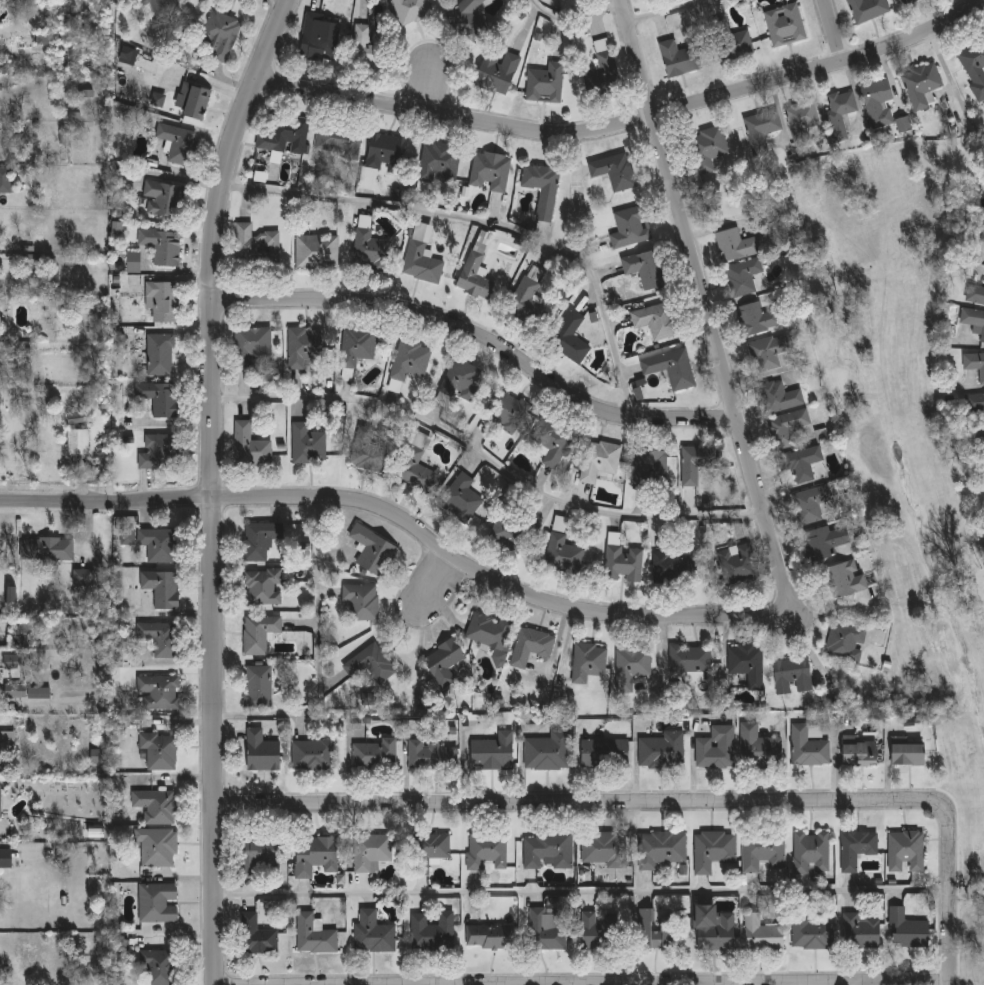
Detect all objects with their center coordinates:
building: (905, 1)
building: (159, 6)
building: (866, 9)
building: (411, 10)
road: (666, 11)
road: (576, 16)
building: (467, 19)
building: (785, 25)
building: (220, 34)
road: (836, 35)
building: (317, 38)
building: (44, 39)
building: (368, 44)
building: (733, 44)
building: (129, 55)
building: (679, 57)
building: (604, 60)
building: (975, 66)
building: (496, 71)
building: (545, 82)
building: (922, 83)
building: (158, 99)
building: (195, 100)
building: (878, 102)
building: (839, 111)
building: (801, 119)
building: (904, 124)
road: (626, 125)
building: (761, 129)
building: (289, 134)
building: (338, 139)
building: (178, 142)
building: (710, 146)
building: (382, 155)
building: (439, 161)
building: (614, 170)
building: (490, 171)
building: (6, 181)
building: (542, 188)
building: (164, 198)
road: (484, 221)
building: (117, 227)
building: (630, 227)
building: (982, 237)
road: (209, 240)
building: (162, 245)
building: (256, 245)
building: (735, 245)
building: (370, 247)
building: (316, 251)
building: (422, 255)
building: (134, 262)
building: (31, 263)
building: (641, 268)
building: (474, 276)
building: (742, 276)
building: (975, 294)
building: (161, 300)
building: (525, 300)
road: (702, 308)
building: (756, 318)
building: (973, 319)
building: (658, 320)
building: (570, 338)
road: (481, 340)
building: (250, 344)
building: (356, 345)
building: (306, 347)
building: (21, 352)
building: (768, 352)
building: (159, 354)
building: (410, 359)
building: (974, 363)
building: (670, 368)
building: (461, 379)
park: (899, 379)
building: (159, 397)
building: (779, 397)
building: (974, 402)
park: (904, 409)
building: (505, 411)
building: (79, 417)
building: (786, 428)
building: (552, 440)
building: (78, 441)
building: (979, 442)
building: (307, 444)
building: (250, 445)
building: (159, 451)
building: (368, 451)
road: (486, 459)
building: (799, 459)
building: (599, 460)
building: (694, 463)
building: (650, 466)
building: (414, 469)
building: (460, 498)
building: (812, 504)
road: (405, 519)
building: (511, 531)
building: (128, 536)
building: (260, 540)
building: (823, 543)
building: (160, 544)
building: (45, 548)
building: (373, 551)
building: (563, 553)
building: (737, 562)
building: (624, 563)
building: (674, 567)
building: (84, 576)
building: (845, 578)
road: (434, 579)
building: (263, 587)
building: (162, 588)
building: (361, 601)
road: (844, 610)
building: (23, 626)
building: (489, 631)
building: (259, 633)
building: (159, 638)
building: (846, 641)
building: (534, 648)
road: (310, 652)
building: (119, 656)
building: (443, 657)
building: (690, 658)
building: (11, 661)
building: (588, 661)
building: (746, 661)
building: (633, 662)
building: (369, 666)
building: (792, 674)
building: (258, 686)
building: (16, 691)
building: (158, 692)
building: (39, 693)
road: (211, 740)
building: (758, 747)
building: (808, 747)
building: (716, 748)
building: (160, 750)
building: (262, 751)
building: (548, 751)
building: (662, 751)
building: (493, 752)
building: (605, 753)
building: (860, 753)
building: (313, 754)
building: (375, 754)
building: (908, 754)
building: (432, 755)
building: (0, 802)
building: (157, 806)
road: (666, 811)
park: (969, 815)
building: (157, 846)
building: (604, 848)
building: (660, 848)
building: (856, 848)
building: (547, 849)
building: (713, 849)
building: (430, 850)
building: (486, 850)
building: (763, 850)
building: (371, 851)
building: (811, 851)
building: (906, 851)
building: (315, 855)
building: (6, 857)
building: (260, 857)
road: (582, 891)
building: (158, 902)
building: (602, 928)
building: (714, 928)
building: (906, 928)
building: (546, 929)
building: (861, 930)
building: (432, 931)
building: (657, 931)
building: (373, 933)
building: (762, 933)
building: (812, 933)
building: (314, 934)
building: (256, 935)
building: (489, 936)
building: (123, 944)
building: (159, 967)

